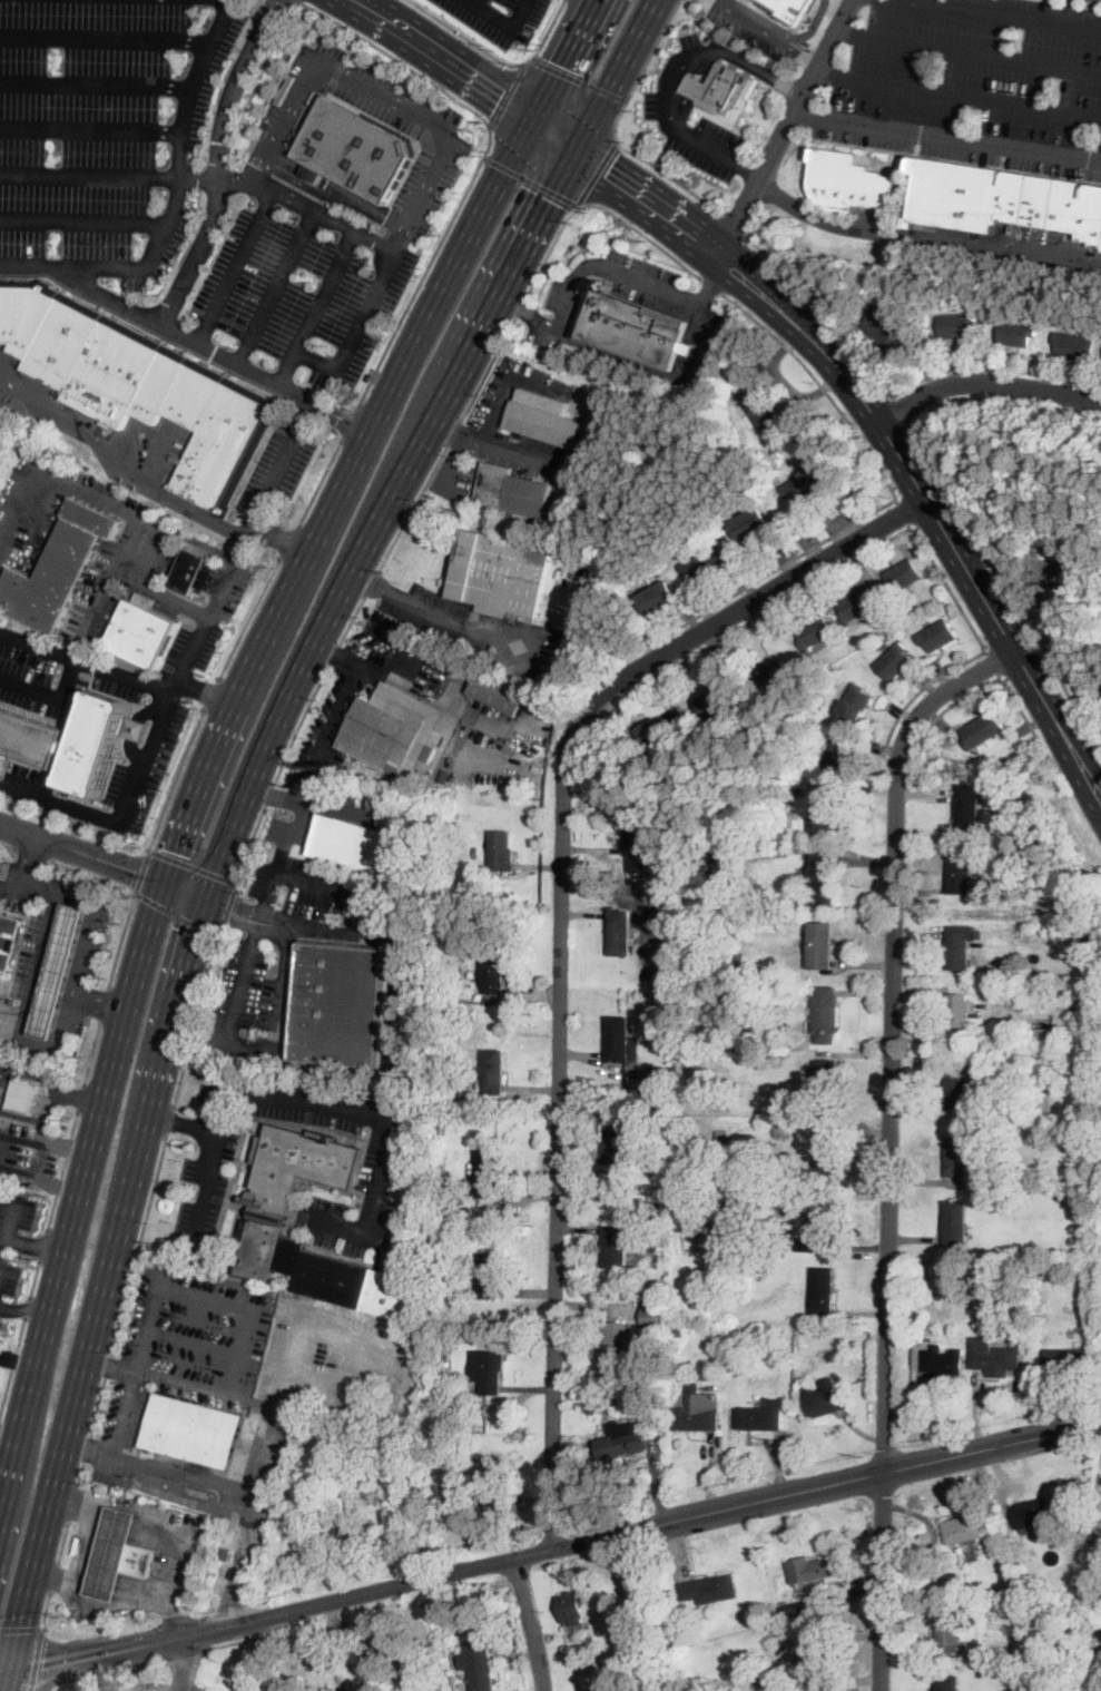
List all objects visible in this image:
road: (292, 1)
parking lot: (852, 3)
building: (786, 10)
road: (987, 14)
parking lot: (500, 17)
road: (507, 23)
parking lot: (837, 28)
road: (769, 31)
road: (544, 32)
parking lot: (768, 36)
road: (465, 37)
road: (105, 38)
road: (354, 42)
road: (970, 52)
road: (445, 55)
road: (396, 58)
traffic signals: (557, 62)
road: (642, 68)
road: (616, 76)
road: (678, 76)
road: (579, 78)
parking lot: (970, 82)
road: (692, 83)
road: (95, 85)
building: (720, 89)
road: (960, 91)
traffic signals: (502, 94)
road: (508, 94)
road: (404, 105)
parking lot: (669, 105)
road: (786, 128)
road: (90, 129)
road: (553, 132)
parking lot: (105, 134)
road: (948, 137)
parking lot: (440, 139)
building: (356, 149)
road: (262, 156)
road: (218, 160)
road: (597, 171)
road: (667, 175)
road: (88, 176)
traffic signals: (602, 178)
road: (530, 179)
road: (299, 180)
building: (851, 183)
road: (336, 187)
road: (289, 197)
traffic signals: (550, 198)
building: (1002, 199)
road: (174, 204)
road: (579, 205)
road: (650, 210)
road: (82, 222)
road: (730, 224)
road: (641, 233)
road: (923, 238)
road: (549, 249)
road: (235, 265)
road: (426, 265)
road: (600, 268)
road: (709, 284)
road: (276, 286)
road: (712, 286)
parking lot: (302, 295)
parking lot: (669, 301)
road: (317, 306)
road: (518, 306)
road: (521, 307)
road: (824, 313)
building: (956, 325)
building: (633, 328)
building: (883, 328)
road: (357, 331)
building: (1016, 333)
building: (1074, 346)
road: (210, 347)
building: (687, 348)
parking lot: (1, 367)
road: (994, 367)
road: (985, 382)
road: (820, 384)
building: (140, 385)
building: (759, 409)
road: (903, 409)
parking lot: (489, 414)
road: (497, 419)
building: (544, 419)
road: (352, 422)
road: (450, 432)
building: (62, 436)
road: (521, 458)
road: (114, 459)
road: (278, 459)
parking lot: (278, 465)
parking lot: (454, 479)
road: (321, 483)
building: (806, 484)
building: (513, 491)
road: (98, 495)
road: (904, 511)
road: (934, 515)
building: (750, 523)
road: (279, 533)
parking lot: (148, 542)
road: (291, 543)
road: (391, 549)
building: (706, 561)
building: (59, 569)
road: (777, 570)
building: (189, 571)
road: (110, 573)
building: (502, 573)
park: (1058, 573)
building: (902, 576)
road: (1004, 582)
road: (948, 587)
road: (160, 592)
building: (658, 598)
road: (215, 600)
building: (856, 604)
road: (426, 611)
road: (1053, 611)
parking lot: (209, 613)
road: (249, 620)
road: (749, 622)
road: (1052, 629)
building: (814, 631)
building: (141, 635)
building: (937, 636)
road: (76, 658)
building: (894, 661)
road: (992, 663)
road: (373, 671)
building: (778, 674)
parking lot: (59, 677)
road: (346, 685)
road: (194, 687)
road: (927, 687)
parking lot: (362, 688)
building: (499, 691)
road: (51, 694)
road: (213, 695)
building: (714, 702)
building: (856, 704)
road: (223, 727)
road: (137, 728)
building: (665, 728)
building: (136, 729)
building: (393, 730)
building: (981, 730)
road: (1038, 738)
building: (70, 741)
building: (842, 751)
parking lot: (141, 774)
road: (177, 779)
parking lot: (28, 783)
road: (268, 793)
road: (276, 793)
building: (969, 807)
road: (124, 810)
building: (825, 813)
road: (288, 833)
road: (249, 842)
building: (639, 843)
building: (354, 844)
road: (9, 846)
traffic signals: (173, 849)
building: (501, 851)
road: (35, 855)
building: (712, 856)
road: (102, 858)
road: (32, 862)
road: (193, 865)
building: (652, 868)
traffic signals: (136, 871)
road: (144, 873)
road: (94, 875)
building: (959, 875)
building: (823, 878)
road: (12, 884)
road: (205, 891)
road: (269, 891)
building: (987, 897)
parking lot: (17, 898)
building: (662, 907)
road: (226, 910)
road: (175, 913)
traffic signals: (234, 914)
building: (663, 925)
road: (561, 926)
traffic signals: (194, 933)
building: (620, 933)
building: (1088, 938)
building: (9, 940)
road: (121, 941)
building: (822, 946)
parking lot: (286, 950)
building: (957, 951)
parking lot: (35, 953)
building: (460, 965)
road: (39, 966)
road: (83, 970)
gas station: (59, 971)
building: (60, 971)
building: (492, 972)
building: (1023, 972)
road: (281, 989)
parking lot: (2, 990)
road: (100, 1003)
building: (708, 1003)
road: (104, 1005)
building: (340, 1005)
building: (1091, 1007)
building: (826, 1014)
building: (959, 1014)
road: (194, 1020)
road: (394, 1021)
building: (255, 1032)
building: (1004, 1032)
building: (1048, 1036)
building: (619, 1039)
road: (92, 1055)
building: (492, 1072)
building: (661, 1075)
parking lot: (6, 1076)
building: (824, 1078)
building: (959, 1088)
building: (27, 1092)
building: (458, 1092)
road: (227, 1093)
road: (57, 1097)
road: (79, 1097)
road: (80, 1098)
road: (167, 1120)
road: (181, 1123)
building: (781, 1130)
road: (0, 1132)
building: (722, 1139)
road: (45, 1140)
road: (889, 1142)
building: (615, 1146)
building: (826, 1148)
building: (666, 1149)
building: (956, 1154)
parking lot: (30, 1158)
parking lot: (203, 1160)
road: (14, 1170)
building: (663, 1170)
building: (694, 1170)
road: (62, 1171)
building: (486, 1173)
building: (610, 1180)
road: (52, 1182)
building: (685, 1187)
building: (288, 1193)
building: (453, 1194)
building: (746, 1194)
building: (1062, 1196)
parking lot: (326, 1200)
building: (658, 1209)
road: (14, 1217)
parking lot: (17, 1217)
building: (955, 1223)
building: (819, 1228)
road: (37, 1243)
road: (137, 1245)
building: (617, 1245)
road: (42, 1246)
building: (489, 1265)
building: (979, 1268)
road: (1, 1269)
road: (35, 1277)
building: (333, 1278)
parking lot: (10, 1286)
building: (489, 1287)
building: (823, 1291)
building: (389, 1292)
road: (27, 1306)
road: (26, 1307)
building: (1019, 1311)
building: (649, 1314)
road: (151, 1319)
road: (198, 1331)
building: (677, 1331)
parking lot: (198, 1334)
parking lot: (1, 1339)
building: (959, 1340)
road: (245, 1341)
building: (615, 1347)
building: (993, 1357)
road: (18, 1358)
building: (937, 1359)
building: (1063, 1359)
parking lot: (342, 1363)
road: (12, 1364)
road: (107, 1364)
road: (109, 1365)
building: (736, 1365)
building: (492, 1373)
building: (615, 1389)
building: (823, 1400)
road: (97, 1404)
building: (622, 1407)
building: (652, 1410)
building: (699, 1412)
parking lot: (125, 1416)
building: (760, 1416)
building: (194, 1431)
road: (9, 1436)
building: (621, 1441)
road: (87, 1446)
road: (87, 1446)
parking lot: (264, 1462)
road: (80, 1471)
parking lot: (166, 1478)
building: (491, 1482)
road: (255, 1490)
road: (72, 1502)
road: (0, 1505)
building: (1033, 1514)
building: (340, 1526)
building: (963, 1530)
road: (607, 1536)
road: (184, 1537)
road: (62, 1541)
road: (87, 1543)
building: (118, 1555)
gas station: (118, 1555)
building: (226, 1555)
building: (973, 1555)
road: (244, 1559)
building: (813, 1569)
road: (52, 1575)
road: (122, 1590)
building: (710, 1591)
building: (975, 1592)
building: (1006, 1592)
building: (976, 1604)
building: (573, 1608)
building: (794, 1609)
building: (456, 1610)
road: (45, 1611)
building: (966, 1614)
building: (632, 1616)
road: (531, 1623)
road: (20, 1626)
building: (948, 1633)
building: (1034, 1633)
road: (234, 1640)
road: (187, 1654)
road: (186, 1656)
road: (35, 1660)
building: (818, 1661)
road: (57, 1664)
traffic signals: (41, 1668)
road: (76, 1669)
road: (114, 1673)
building: (482, 1673)
building: (1036, 1680)
building: (768, 1681)
building: (947, 1683)
road: (177, 1685)
parking lot: (178, 1687)
road: (72, 1688)
building: (1098, 1688)

